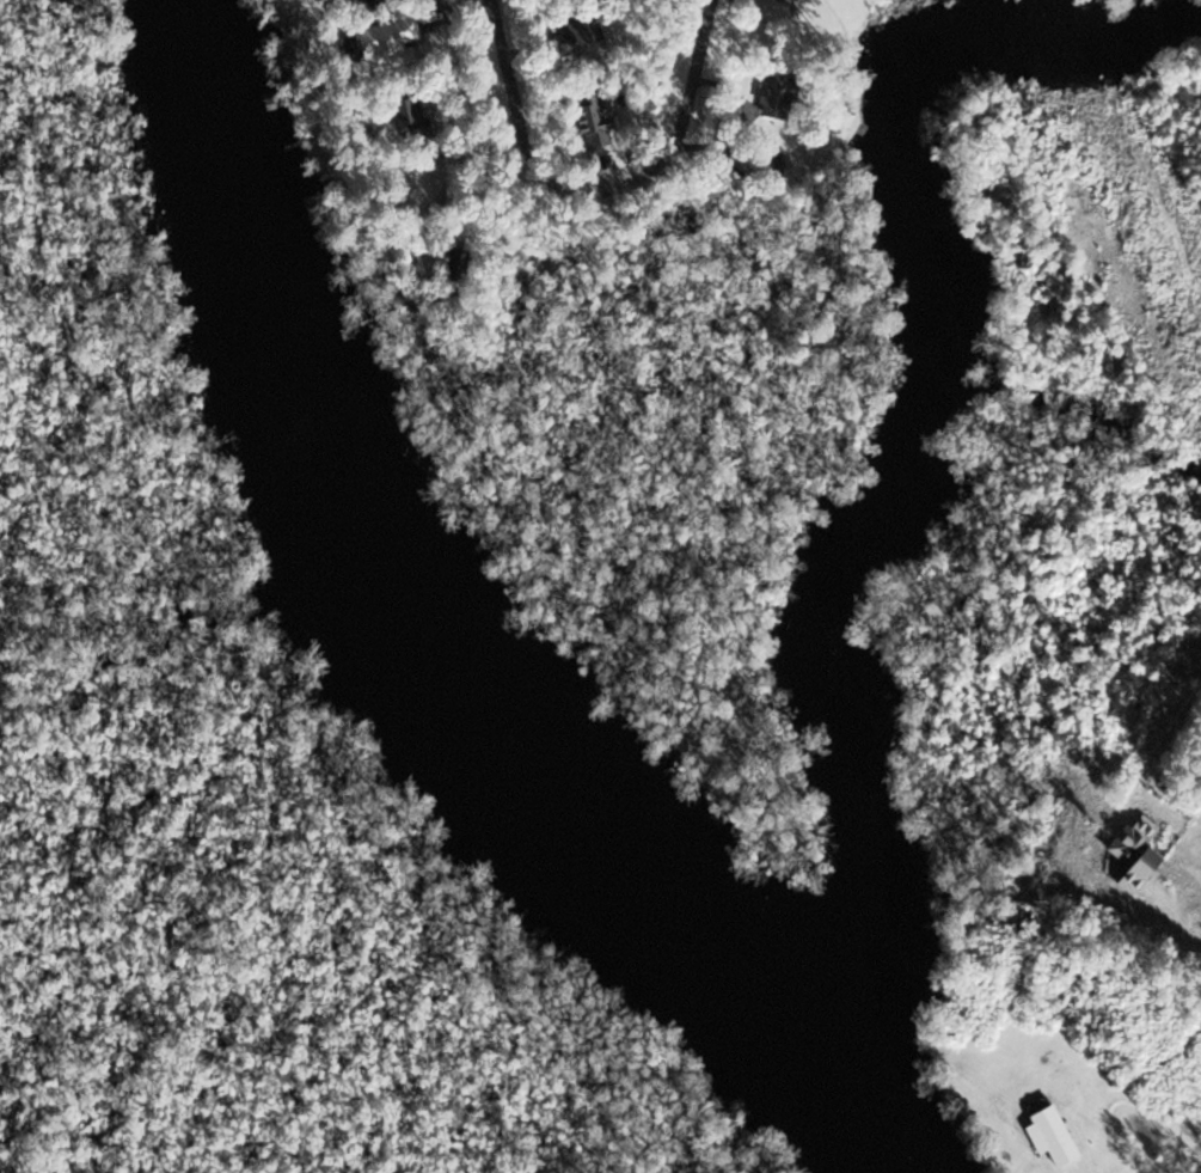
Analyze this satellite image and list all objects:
building: (583, 31)
building: (386, 41)
road: (505, 87)
building: (778, 94)
building: (272, 100)
building: (408, 112)
building: (593, 118)
road: (664, 149)
building: (1135, 854)
building: (1050, 1131)

